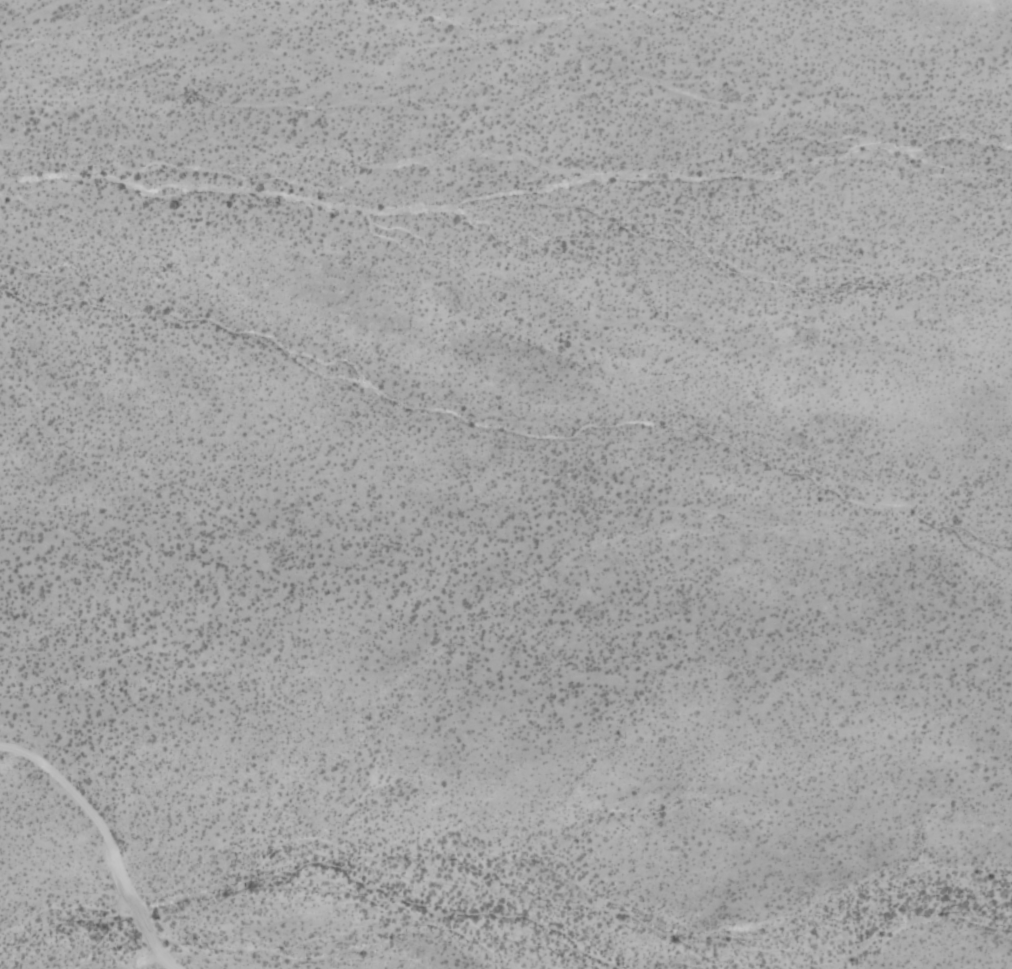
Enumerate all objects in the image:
road: (106, 842)

